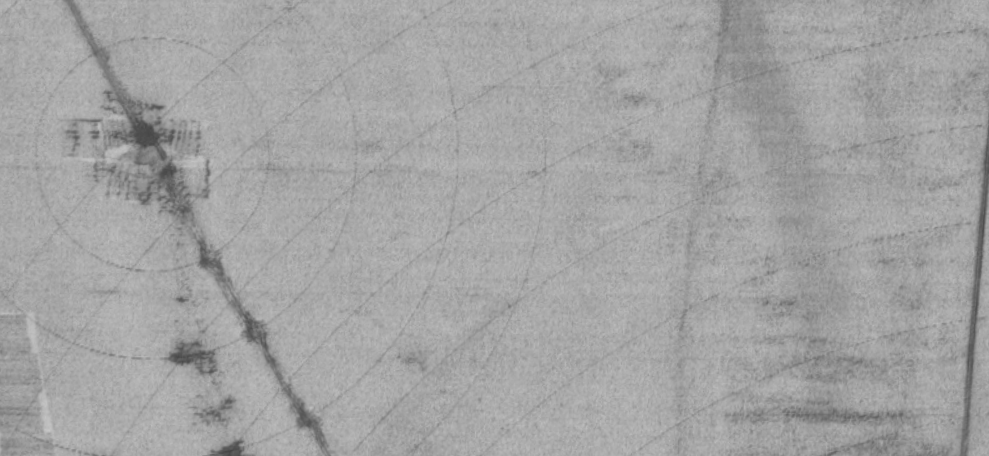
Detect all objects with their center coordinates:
road: (974, 267)

